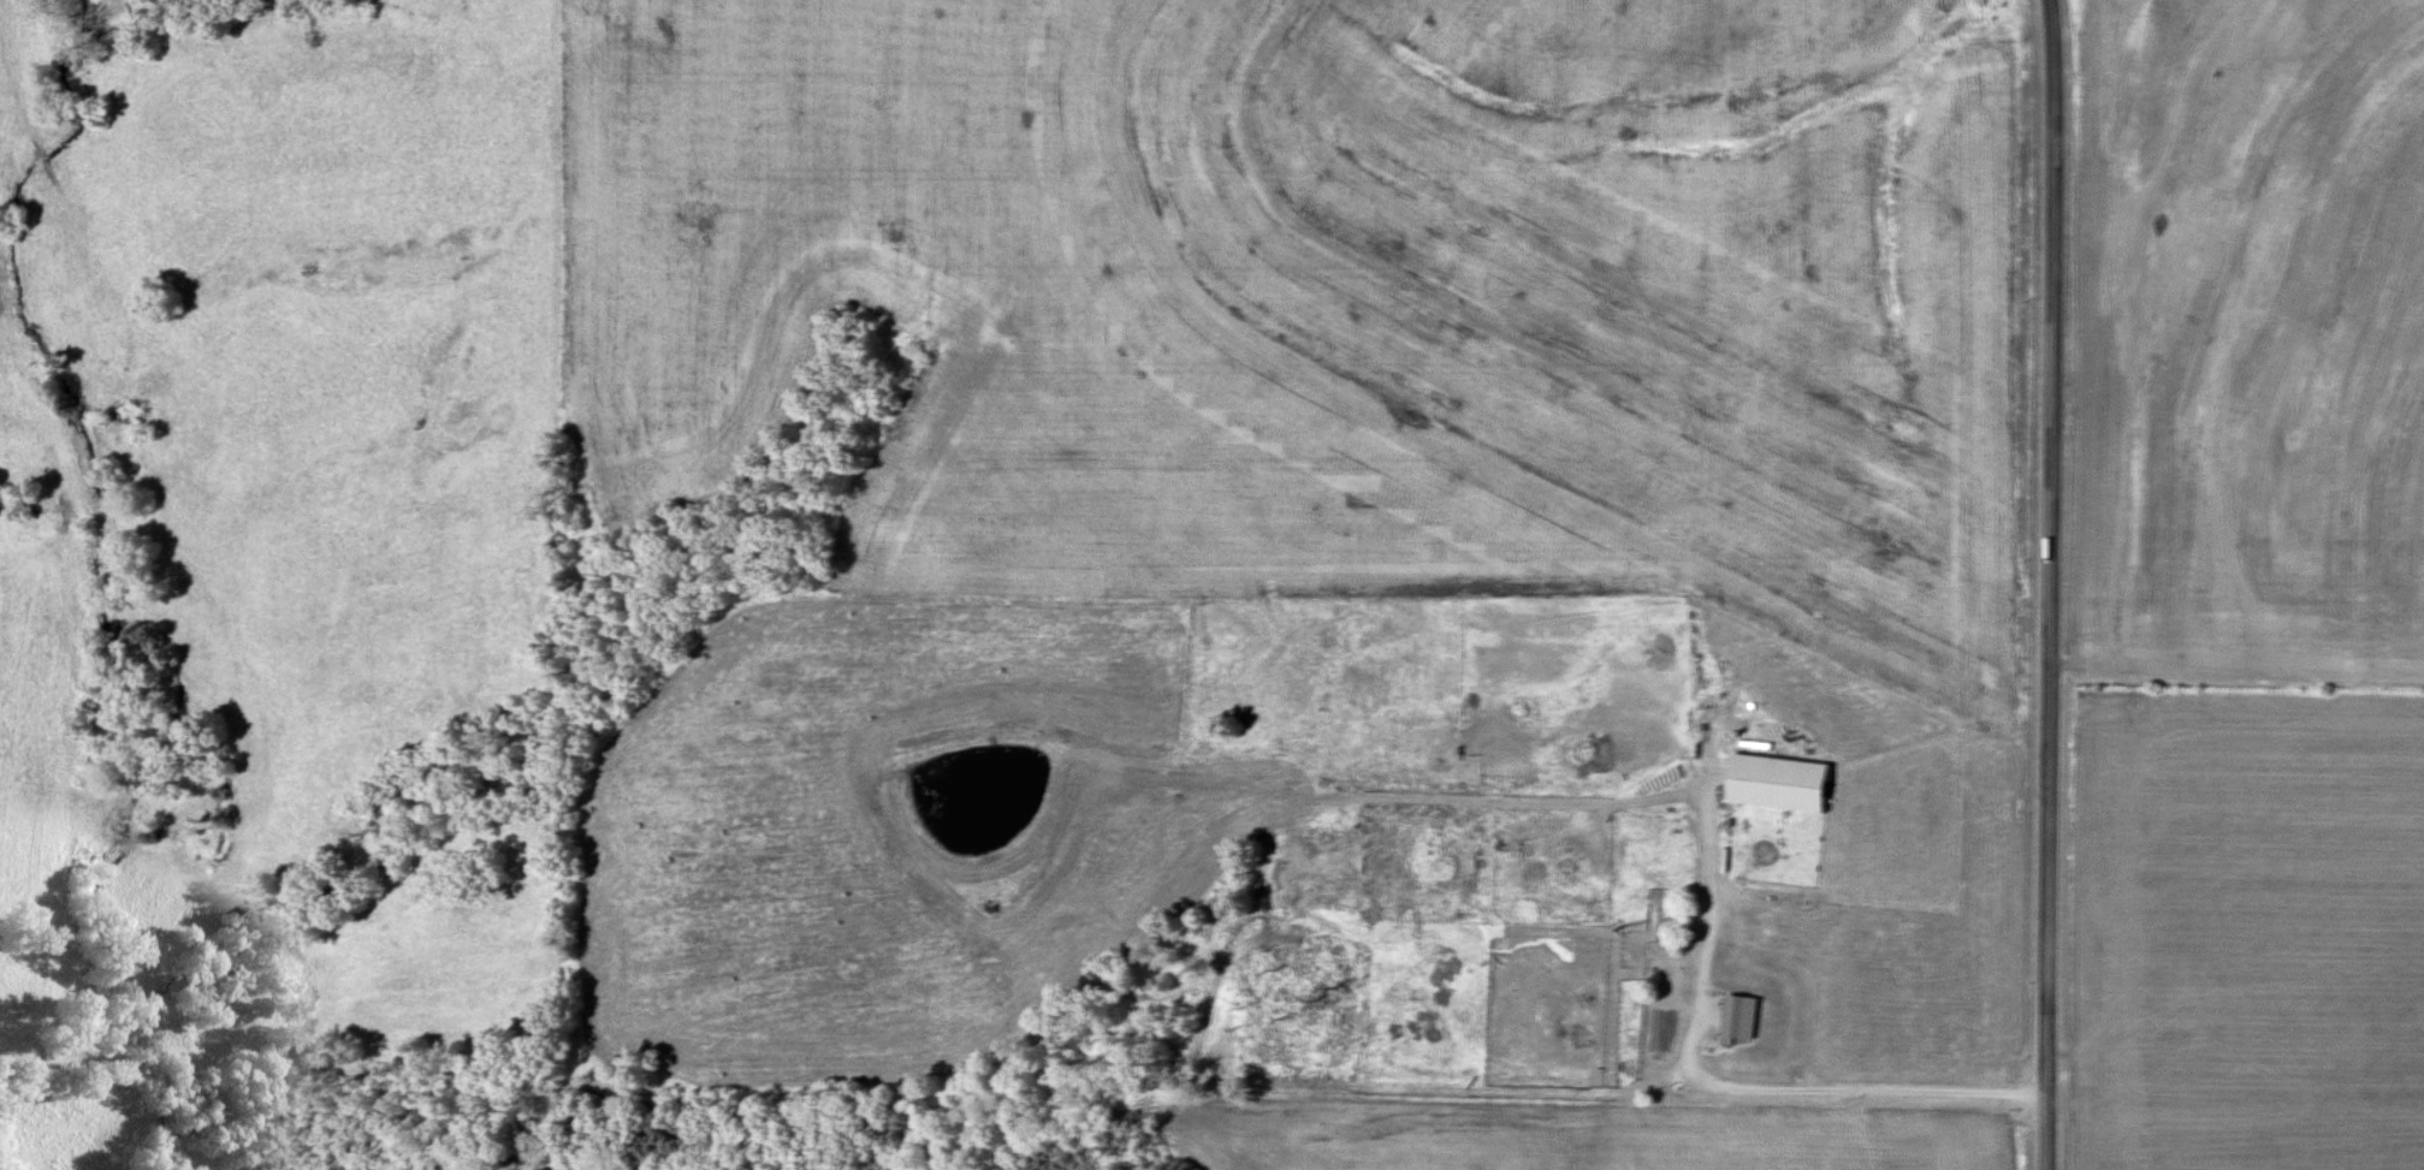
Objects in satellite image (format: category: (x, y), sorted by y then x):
road: (2061, 584)
building: (1783, 782)
building: (1743, 1017)

